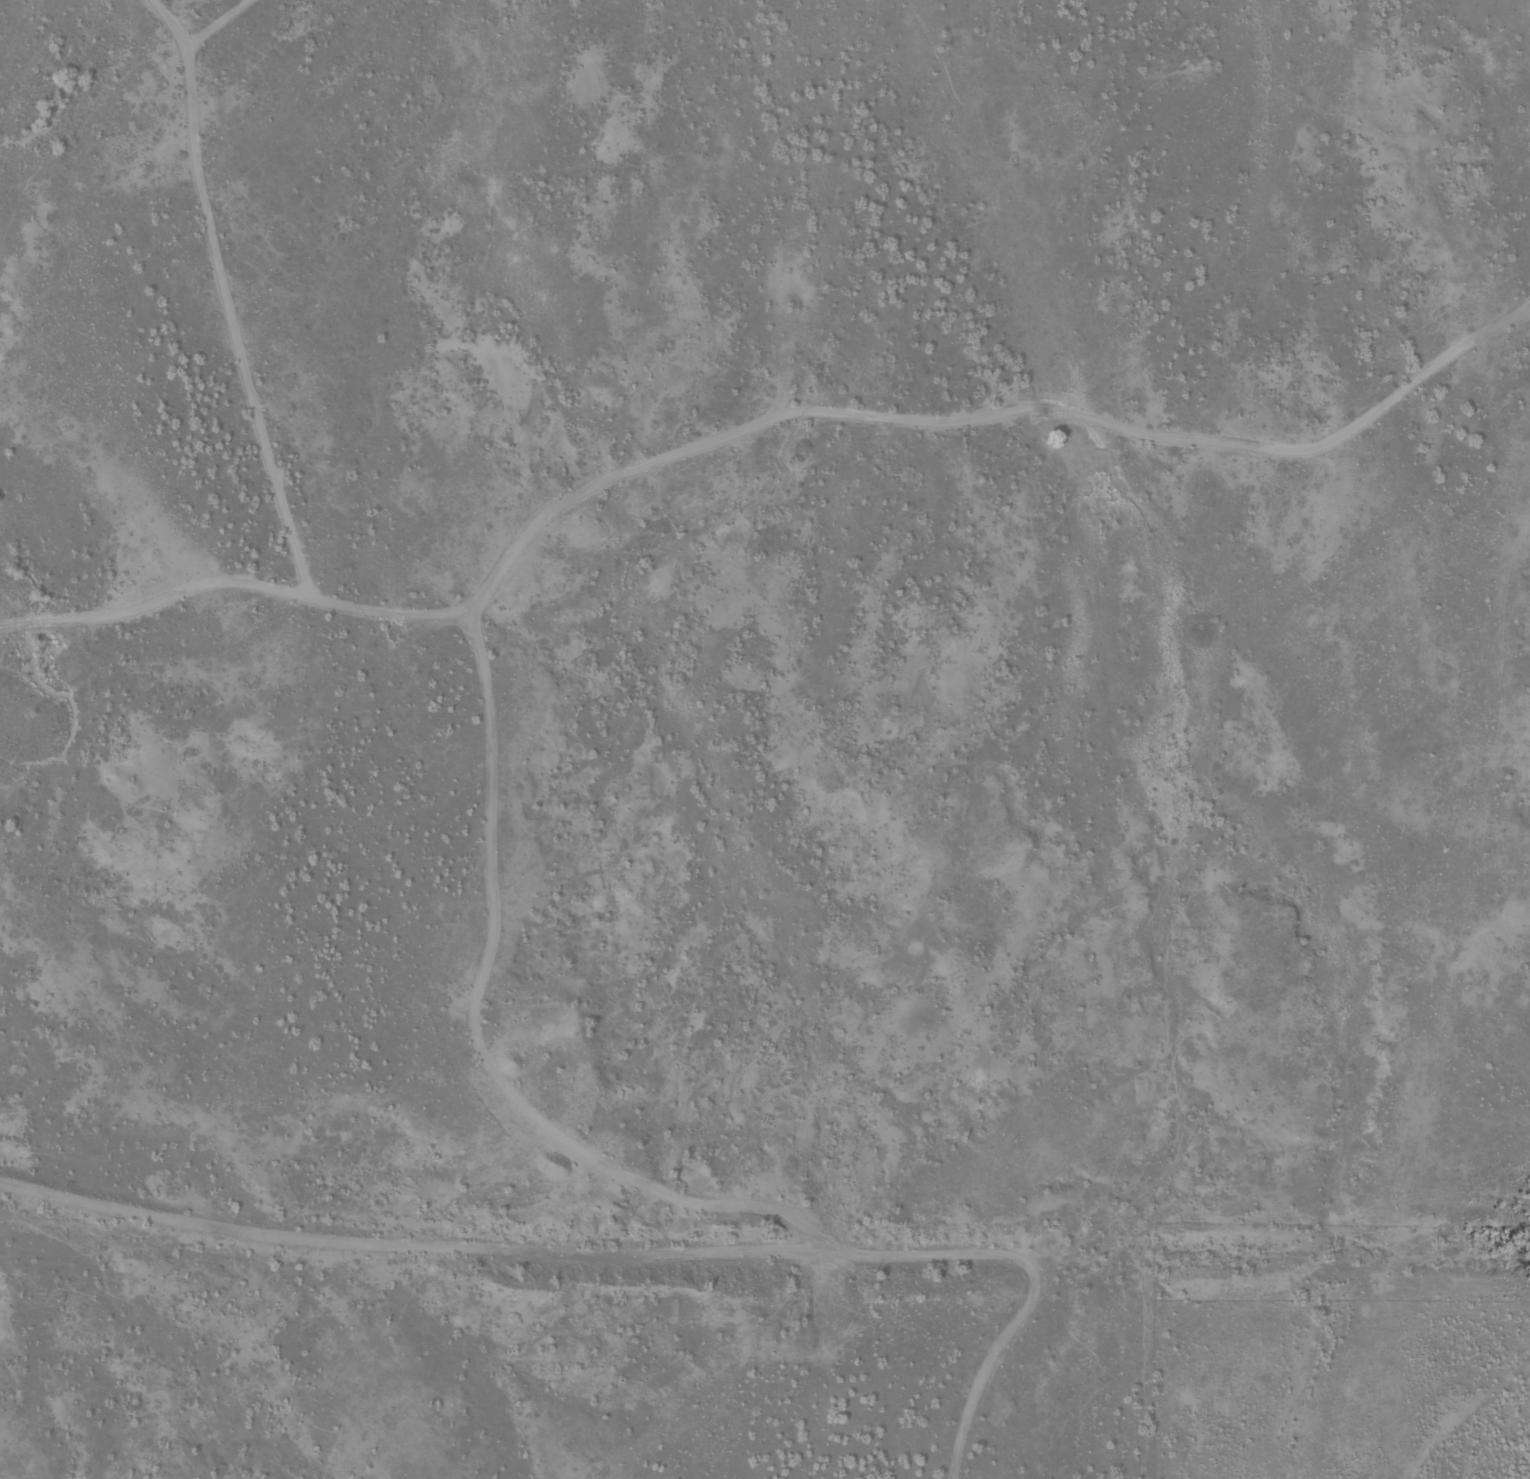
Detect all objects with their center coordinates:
road: (760, 443)
road: (1481, 841)
railway: (760, 1246)

